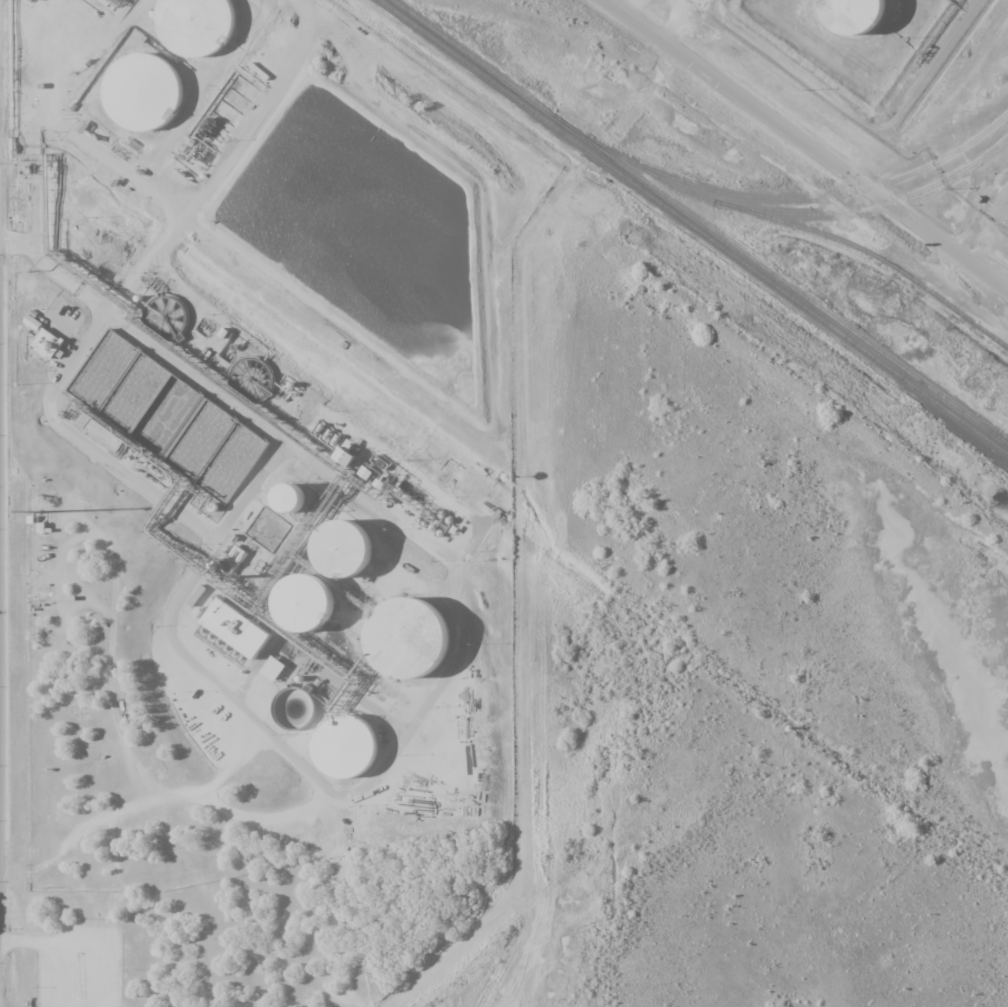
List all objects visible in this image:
building: (865, 18)
storage tank: (865, 18)
building: (202, 28)
storage tank: (202, 28)
building: (151, 99)
storage tank: (151, 99)
road: (808, 144)
railway: (819, 194)
railway: (868, 207)
railway: (699, 222)
road: (981, 222)
railway: (788, 224)
railway: (692, 227)
building: (47, 343)
building: (347, 453)
building: (289, 498)
building: (305, 508)
storage tank: (305, 508)
building: (356, 558)
storage tank: (356, 558)
wastewater plant: (233, 569)
building: (314, 611)
storage tank: (314, 611)
building: (236, 628)
building: (205, 631)
building: (422, 647)
storage tank: (422, 647)
building: (272, 669)
building: (352, 750)
storage tank: (352, 750)

